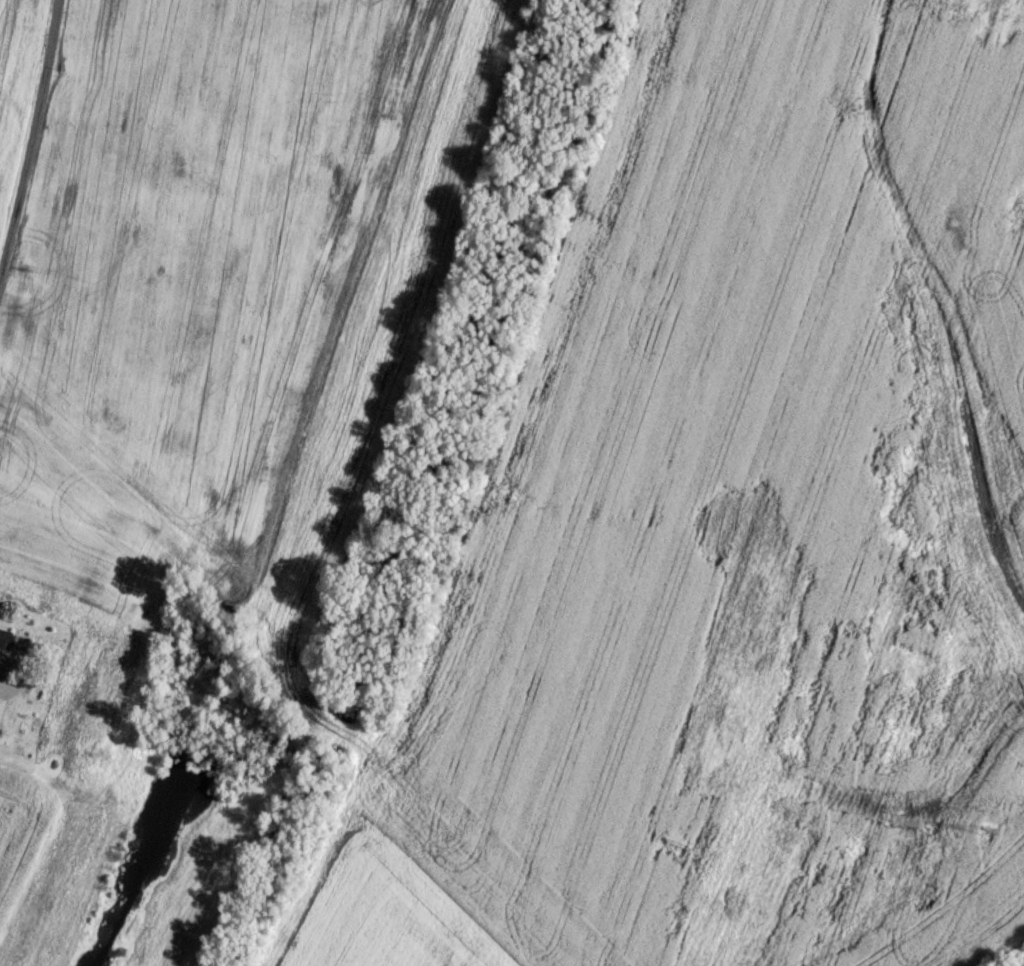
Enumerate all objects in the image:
road: (30, 136)
building: (3, 637)
road: (6, 667)
building: (1, 703)
power tower: (988, 828)

